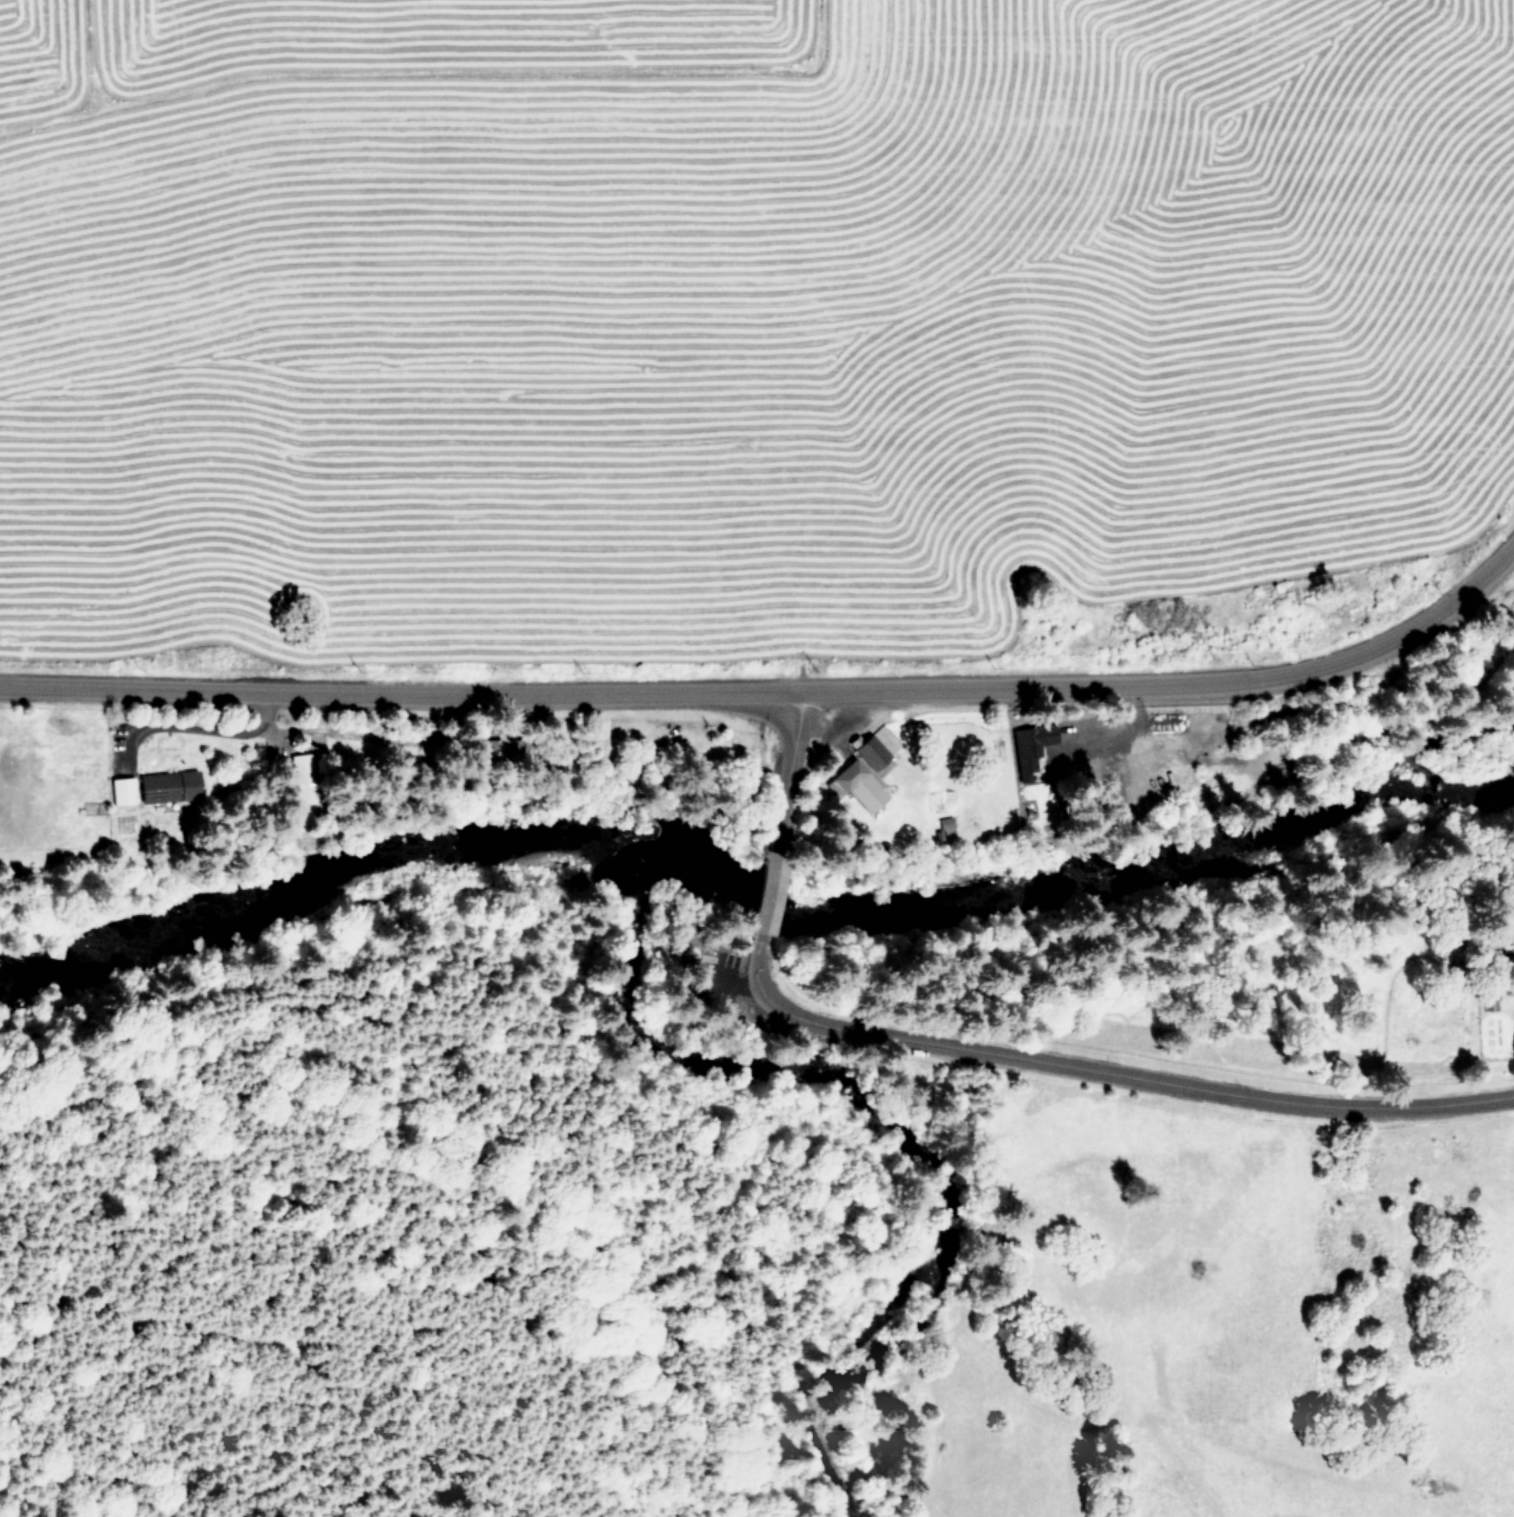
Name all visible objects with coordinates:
crop: (747, 361)
road: (777, 691)
road: (201, 728)
building: (1031, 742)
building: (870, 751)
road: (786, 771)
building: (301, 779)
building: (856, 784)
building: (167, 786)
building: (120, 789)
building: (764, 891)
road: (766, 892)
road: (1104, 1069)

